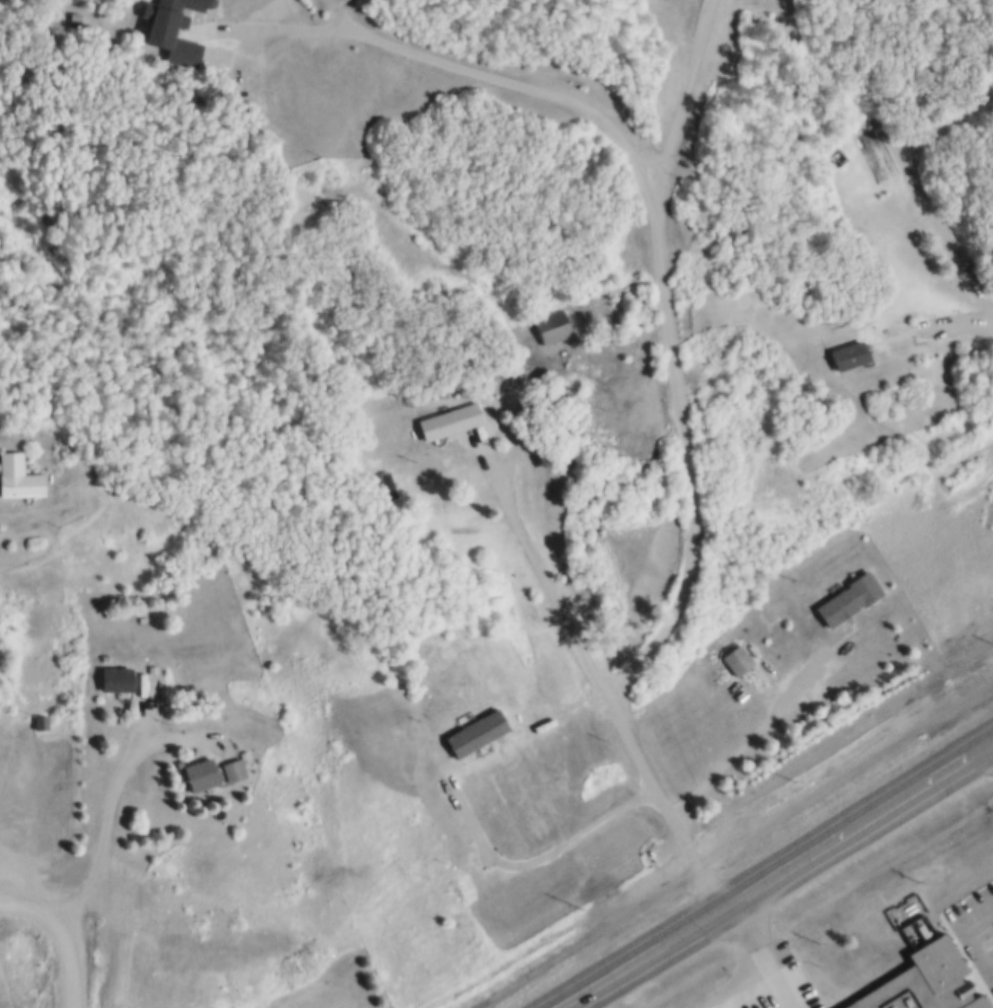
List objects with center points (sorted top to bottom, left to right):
building: (183, 3)
building: (71, 14)
building: (170, 34)
building: (840, 154)
building: (837, 159)
road: (929, 189)
road: (654, 199)
road: (957, 320)
building: (556, 324)
building: (848, 352)
building: (451, 418)
building: (371, 439)
building: (16, 475)
building: (391, 484)
building: (987, 507)
building: (836, 605)
building: (738, 658)
building: (151, 667)
road: (599, 671)
building: (114, 677)
building: (40, 720)
road: (751, 738)
road: (980, 745)
building: (240, 753)
building: (230, 768)
building: (197, 772)
road: (117, 784)
road: (849, 825)
building: (474, 858)
road: (26, 868)
road: (34, 900)
road: (762, 952)
road: (639, 953)
road: (71, 955)
building: (325, 980)
building: (924, 981)

